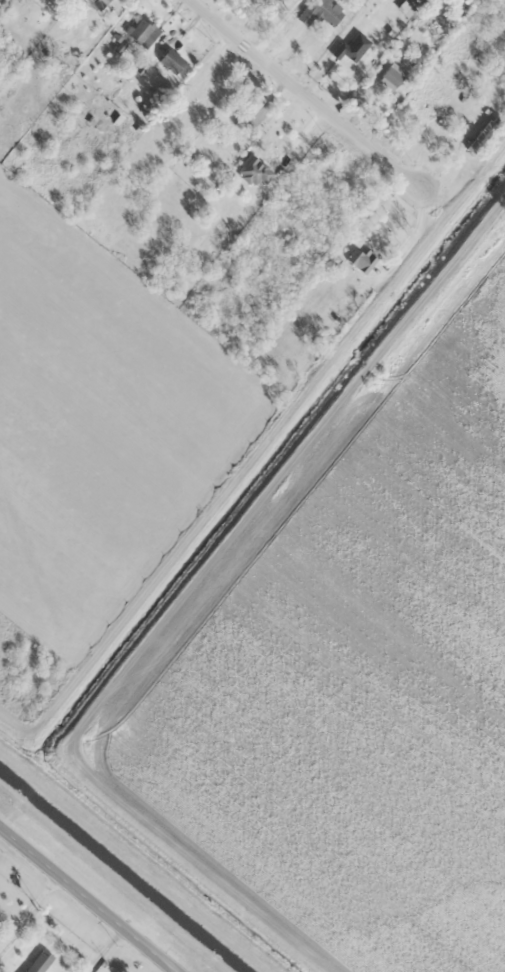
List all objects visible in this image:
building: (93, 0)
building: (294, 0)
building: (321, 12)
building: (143, 33)
building: (352, 48)
building: (171, 61)
building: (392, 76)
road: (298, 90)
building: (203, 91)
building: (428, 108)
building: (249, 112)
building: (254, 171)
building: (359, 263)
road: (90, 897)
building: (39, 962)
road: (153, 963)

